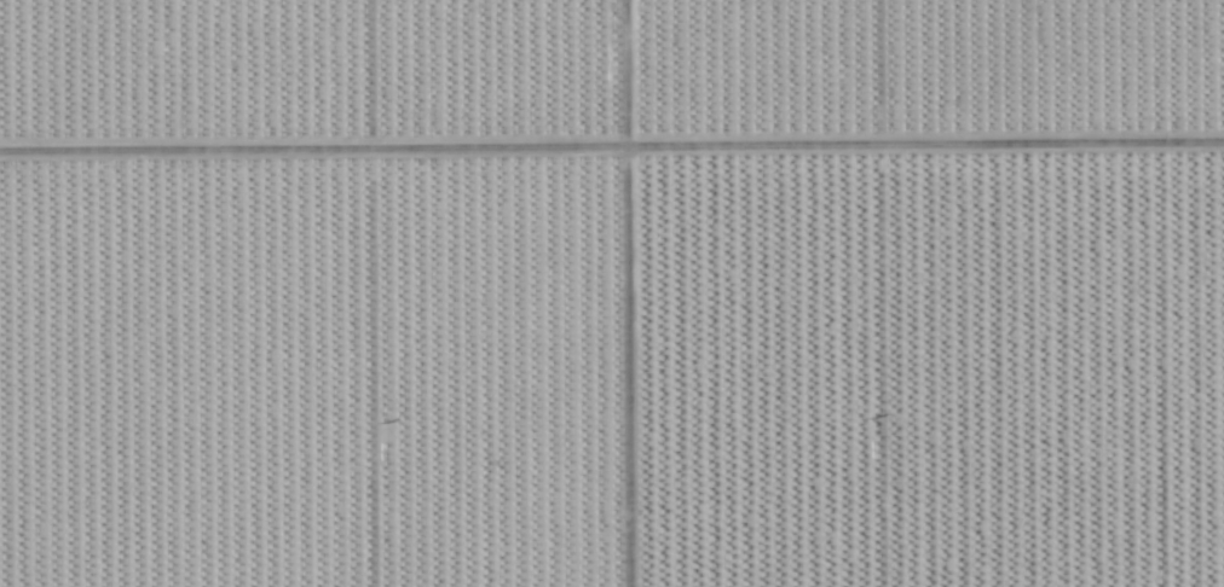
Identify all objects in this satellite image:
road: (628, 293)

